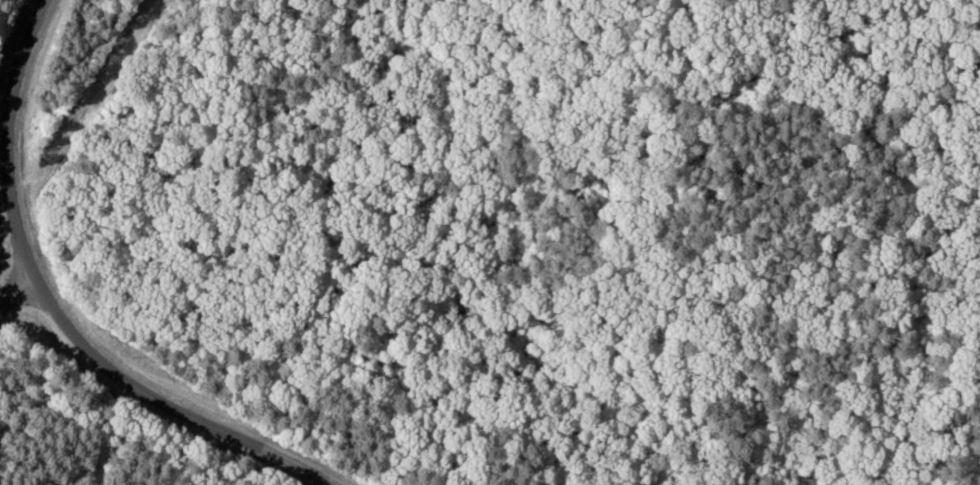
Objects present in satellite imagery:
road: (5, 137)
road: (15, 292)
road: (167, 405)

